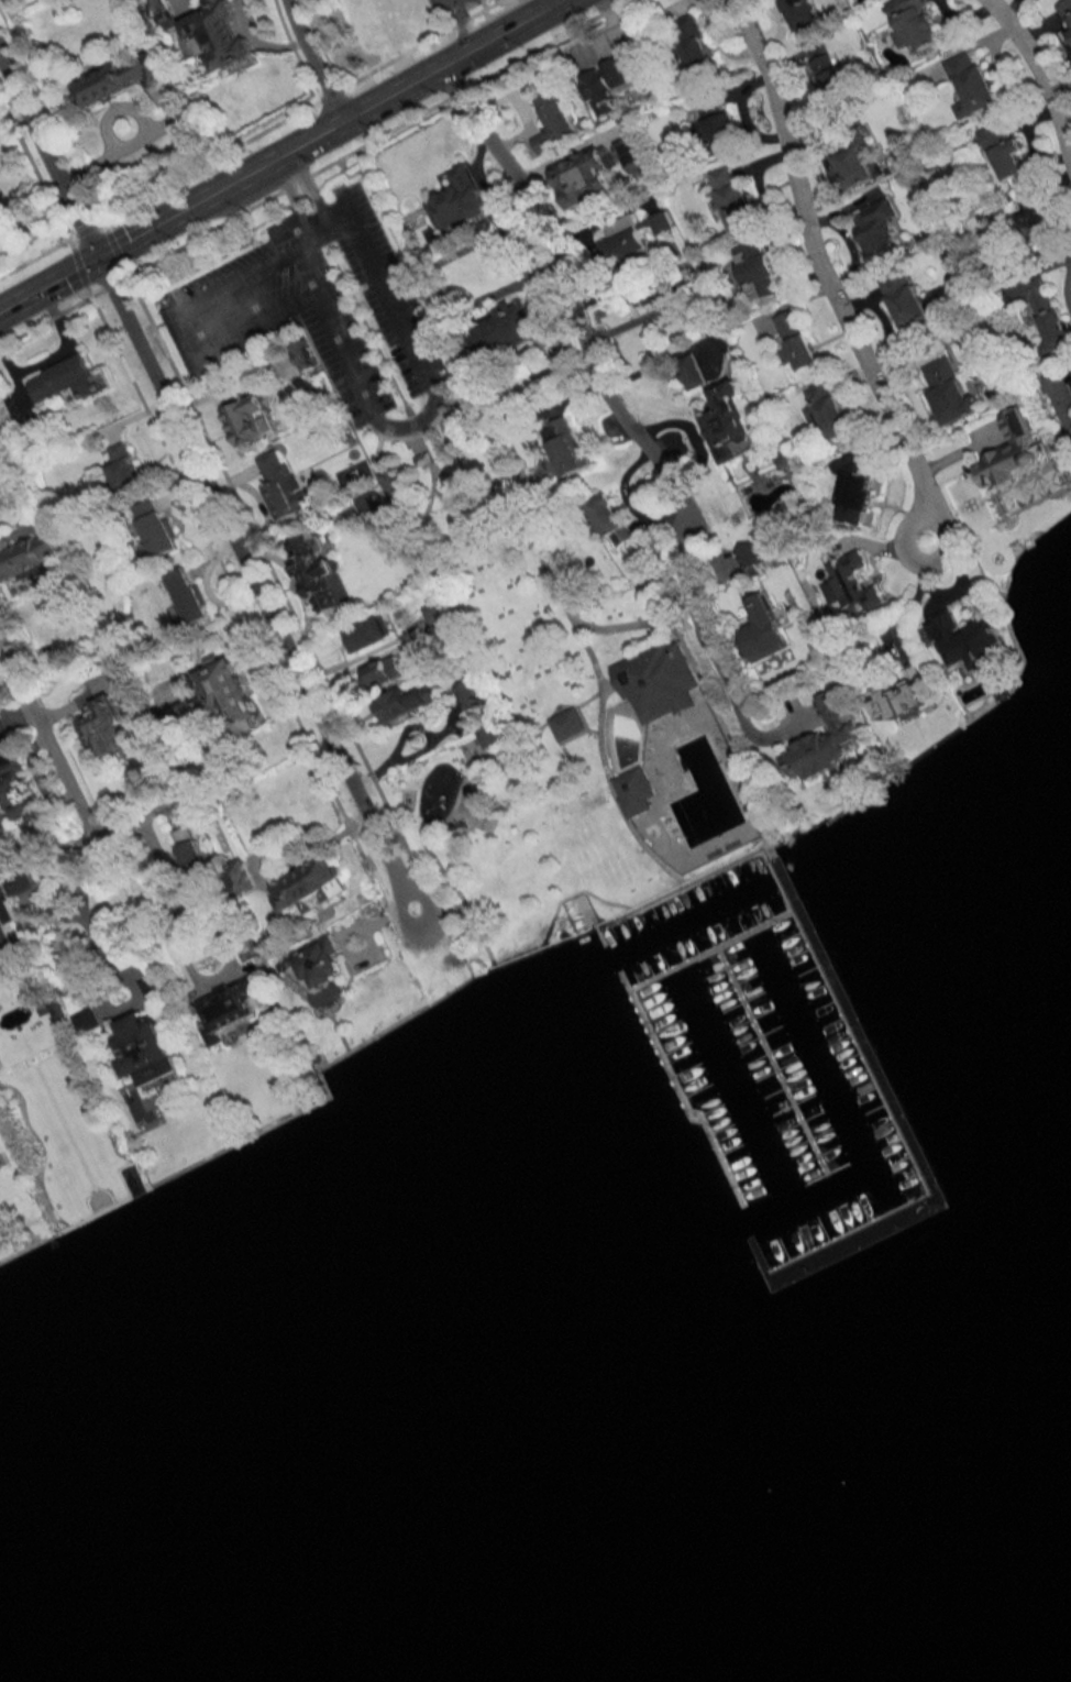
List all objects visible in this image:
building: (797, 12)
building: (1066, 12)
building: (163, 13)
road: (463, 22)
building: (914, 23)
building: (219, 35)
building: (695, 44)
road: (310, 59)
building: (831, 75)
road: (1039, 76)
building: (122, 78)
building: (609, 81)
building: (971, 86)
road: (13, 118)
building: (554, 123)
building: (716, 123)
road: (323, 127)
road: (143, 133)
building: (1003, 147)
building: (629, 151)
building: (854, 164)
road: (314, 173)
building: (586, 177)
road: (311, 182)
road: (291, 193)
building: (457, 199)
building: (735, 200)
building: (1030, 213)
building: (877, 231)
building: (634, 241)
traffic signals: (96, 254)
building: (759, 270)
road: (409, 271)
road: (821, 275)
road: (47, 279)
building: (663, 292)
road: (562, 298)
building: (906, 301)
building: (1048, 312)
building: (505, 330)
road: (181, 334)
building: (796, 340)
building: (303, 353)
building: (691, 372)
building: (67, 380)
building: (949, 392)
building: (826, 410)
building: (252, 420)
building: (731, 422)
road: (405, 426)
road: (411, 435)
building: (564, 447)
road: (376, 452)
building: (1014, 453)
building: (422, 459)
building: (124, 468)
road: (468, 477)
building: (279, 482)
road: (205, 483)
building: (389, 484)
building: (855, 488)
building: (0, 497)
building: (368, 508)
road: (411, 510)
building: (610, 520)
building: (155, 529)
building: (27, 558)
building: (752, 560)
building: (321, 578)
building: (852, 584)
road: (914, 593)
building: (189, 595)
park: (486, 601)
road: (456, 614)
building: (437, 625)
road: (615, 627)
building: (763, 628)
building: (367, 633)
building: (968, 640)
road: (703, 641)
building: (385, 672)
building: (658, 680)
building: (470, 694)
building: (902, 700)
building: (218, 702)
road: (578, 702)
building: (405, 703)
building: (566, 724)
building: (106, 727)
road: (551, 732)
road: (530, 733)
park: (623, 738)
building: (822, 744)
road: (400, 745)
road: (48, 747)
road: (601, 763)
building: (13, 782)
building: (632, 791)
building: (188, 848)
building: (240, 878)
road: (685, 881)
building: (20, 882)
building: (310, 886)
road: (573, 893)
road: (437, 910)
road: (81, 917)
building: (7, 933)
road: (174, 941)
road: (523, 948)
building: (314, 963)
building: (153, 988)
building: (328, 996)
building: (235, 1009)
pier: (658, 1010)
building: (86, 1020)
building: (146, 1051)
pier: (773, 1054)
pier: (894, 1109)

